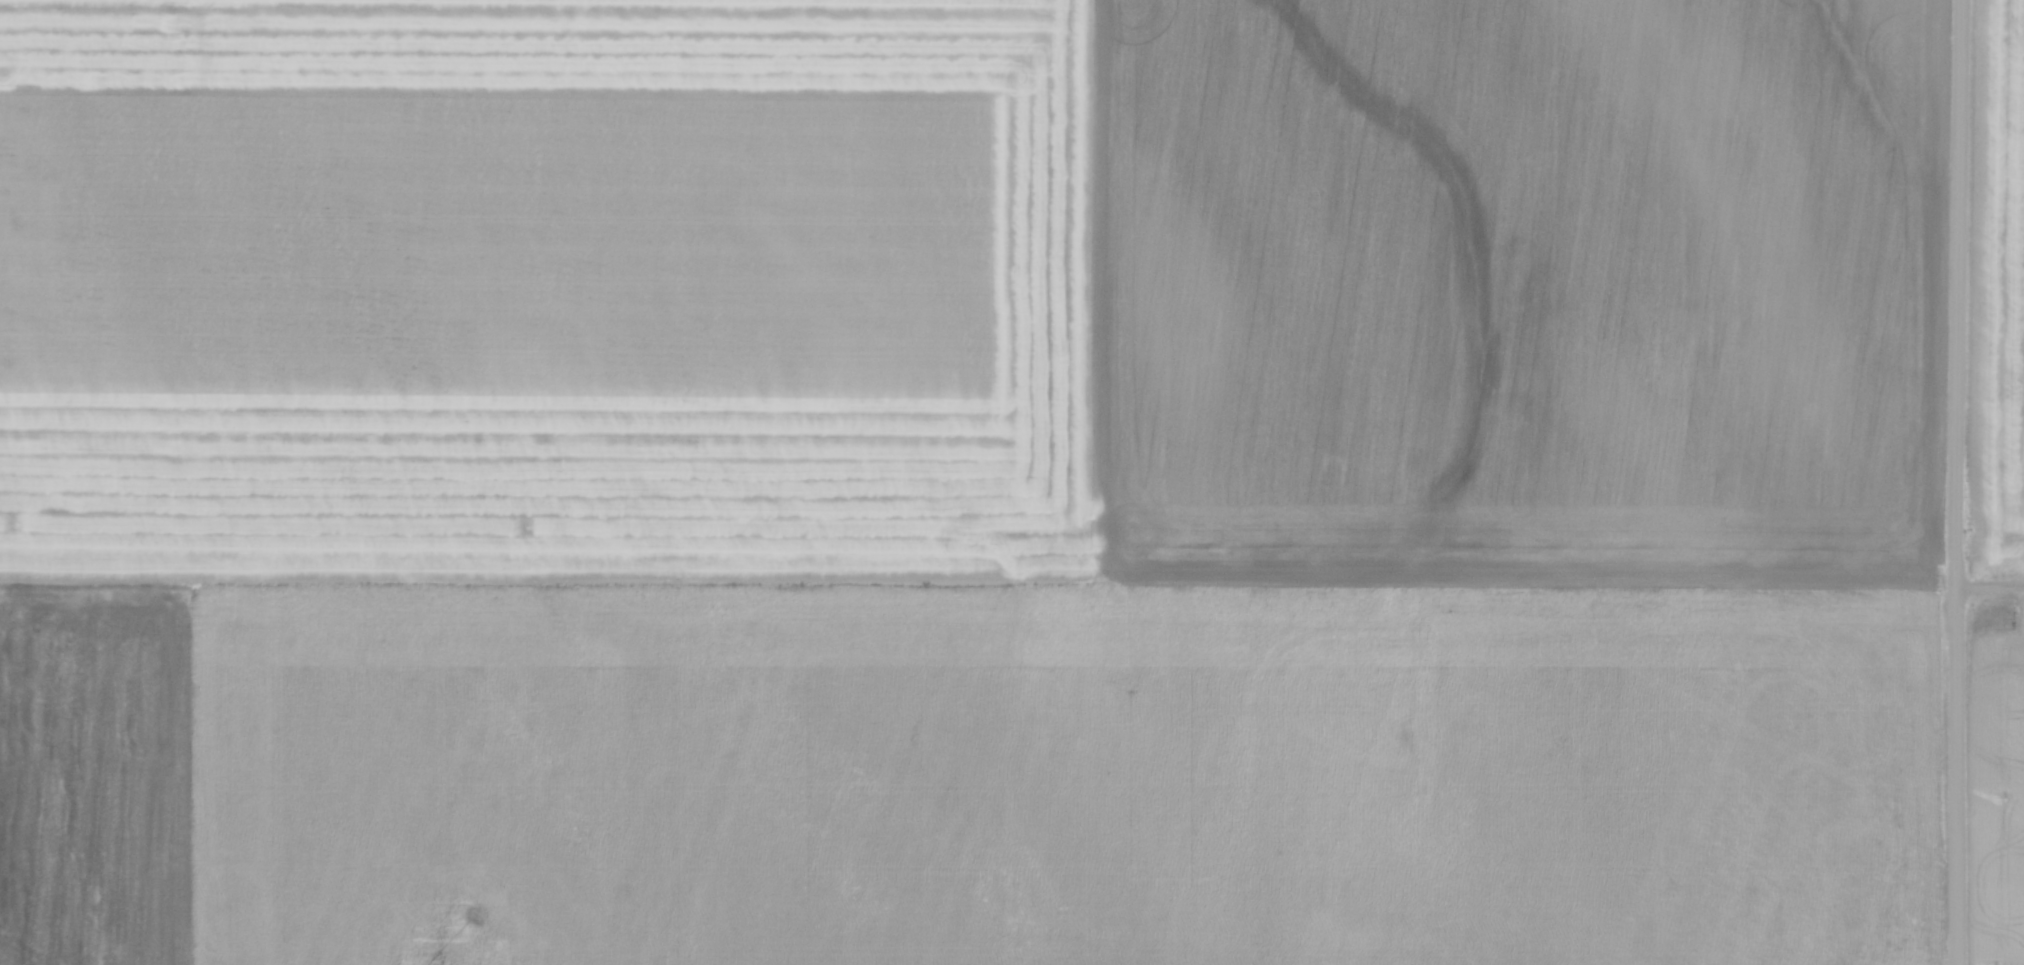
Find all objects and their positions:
crop: (970, 482)
road: (1956, 482)
crop: (1999, 483)

